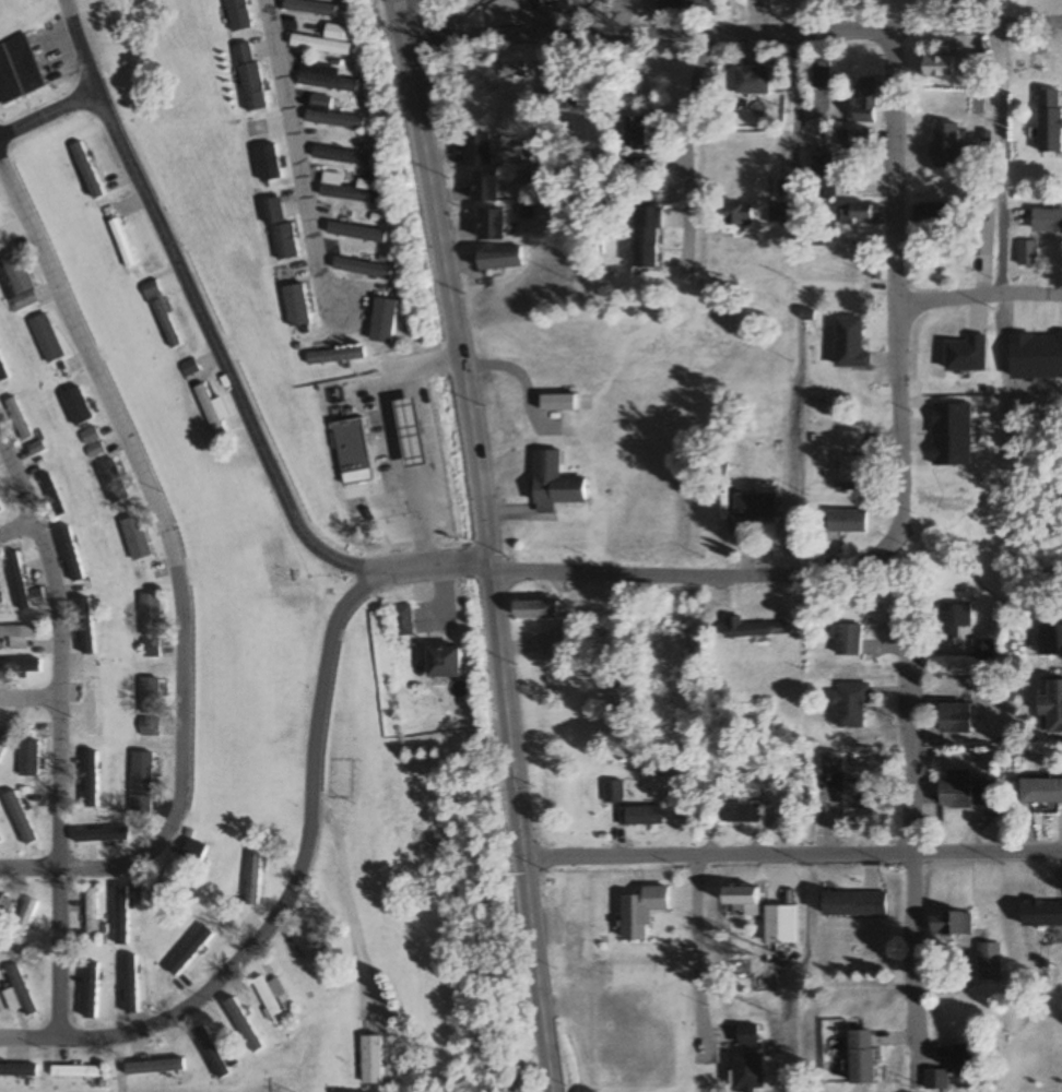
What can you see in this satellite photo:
building: (559, 1)
building: (685, 4)
building: (311, 8)
building: (237, 14)
road: (416, 15)
road: (731, 20)
building: (326, 39)
road: (81, 48)
building: (978, 66)
building: (939, 67)
building: (520, 69)
building: (19, 70)
building: (819, 74)
building: (249, 76)
building: (326, 78)
building: (752, 80)
building: (551, 94)
building: (865, 102)
building: (332, 114)
road: (47, 118)
building: (1050, 121)
building: (636, 132)
building: (857, 138)
road: (684, 143)
building: (947, 145)
building: (475, 149)
road: (1001, 155)
building: (343, 156)
road: (291, 157)
building: (823, 164)
building: (635, 167)
building: (483, 187)
building: (351, 189)
building: (860, 213)
building: (736, 215)
building: (779, 215)
building: (1047, 221)
building: (489, 225)
building: (963, 226)
building: (280, 229)
building: (817, 235)
building: (122, 244)
building: (646, 247)
building: (1028, 252)
building: (499, 259)
building: (363, 269)
building: (17, 283)
road: (445, 283)
road: (979, 294)
building: (294, 300)
building: (162, 314)
road: (897, 325)
building: (47, 339)
building: (850, 344)
road: (216, 355)
building: (335, 356)
building: (188, 368)
building: (939, 373)
building: (555, 403)
building: (76, 404)
building: (210, 412)
building: (19, 419)
building: (411, 432)
building: (90, 437)
building: (853, 442)
building: (351, 446)
building: (36, 448)
building: (94, 451)
building: (853, 474)
building: (113, 483)
building: (558, 492)
building: (52, 496)
building: (756, 505)
building: (848, 523)
road: (16, 532)
building: (135, 538)
road: (433, 572)
road: (180, 573)
road: (654, 573)
building: (19, 580)
building: (37, 597)
building: (536, 610)
building: (149, 615)
building: (402, 620)
building: (954, 620)
building: (752, 629)
building: (17, 636)
building: (847, 640)
building: (1051, 640)
building: (150, 649)
building: (982, 651)
building: (444, 663)
building: (149, 696)
road: (29, 701)
building: (851, 705)
building: (1052, 709)
building: (956, 719)
building: (149, 726)
road: (59, 737)
building: (1, 750)
building: (27, 759)
building: (831, 763)
building: (141, 784)
building: (956, 790)
building: (1041, 791)
building: (854, 795)
building: (737, 807)
building: (644, 816)
road: (520, 830)
building: (0, 841)
building: (196, 852)
road: (792, 852)
road: (913, 857)
road: (298, 871)
building: (169, 887)
building: (743, 901)
building: (850, 904)
building: (4, 906)
building: (642, 912)
building: (91, 914)
building: (1041, 914)
building: (779, 924)
building: (952, 924)
building: (319, 933)
building: (988, 961)
road: (700, 962)
building: (17, 993)
building: (272, 998)
building: (0, 1012)
road: (29, 1037)
building: (213, 1058)
building: (862, 1058)
building: (373, 1060)
building: (966, 1061)
building: (75, 1071)
building: (746, 1072)
building: (14, 1076)

